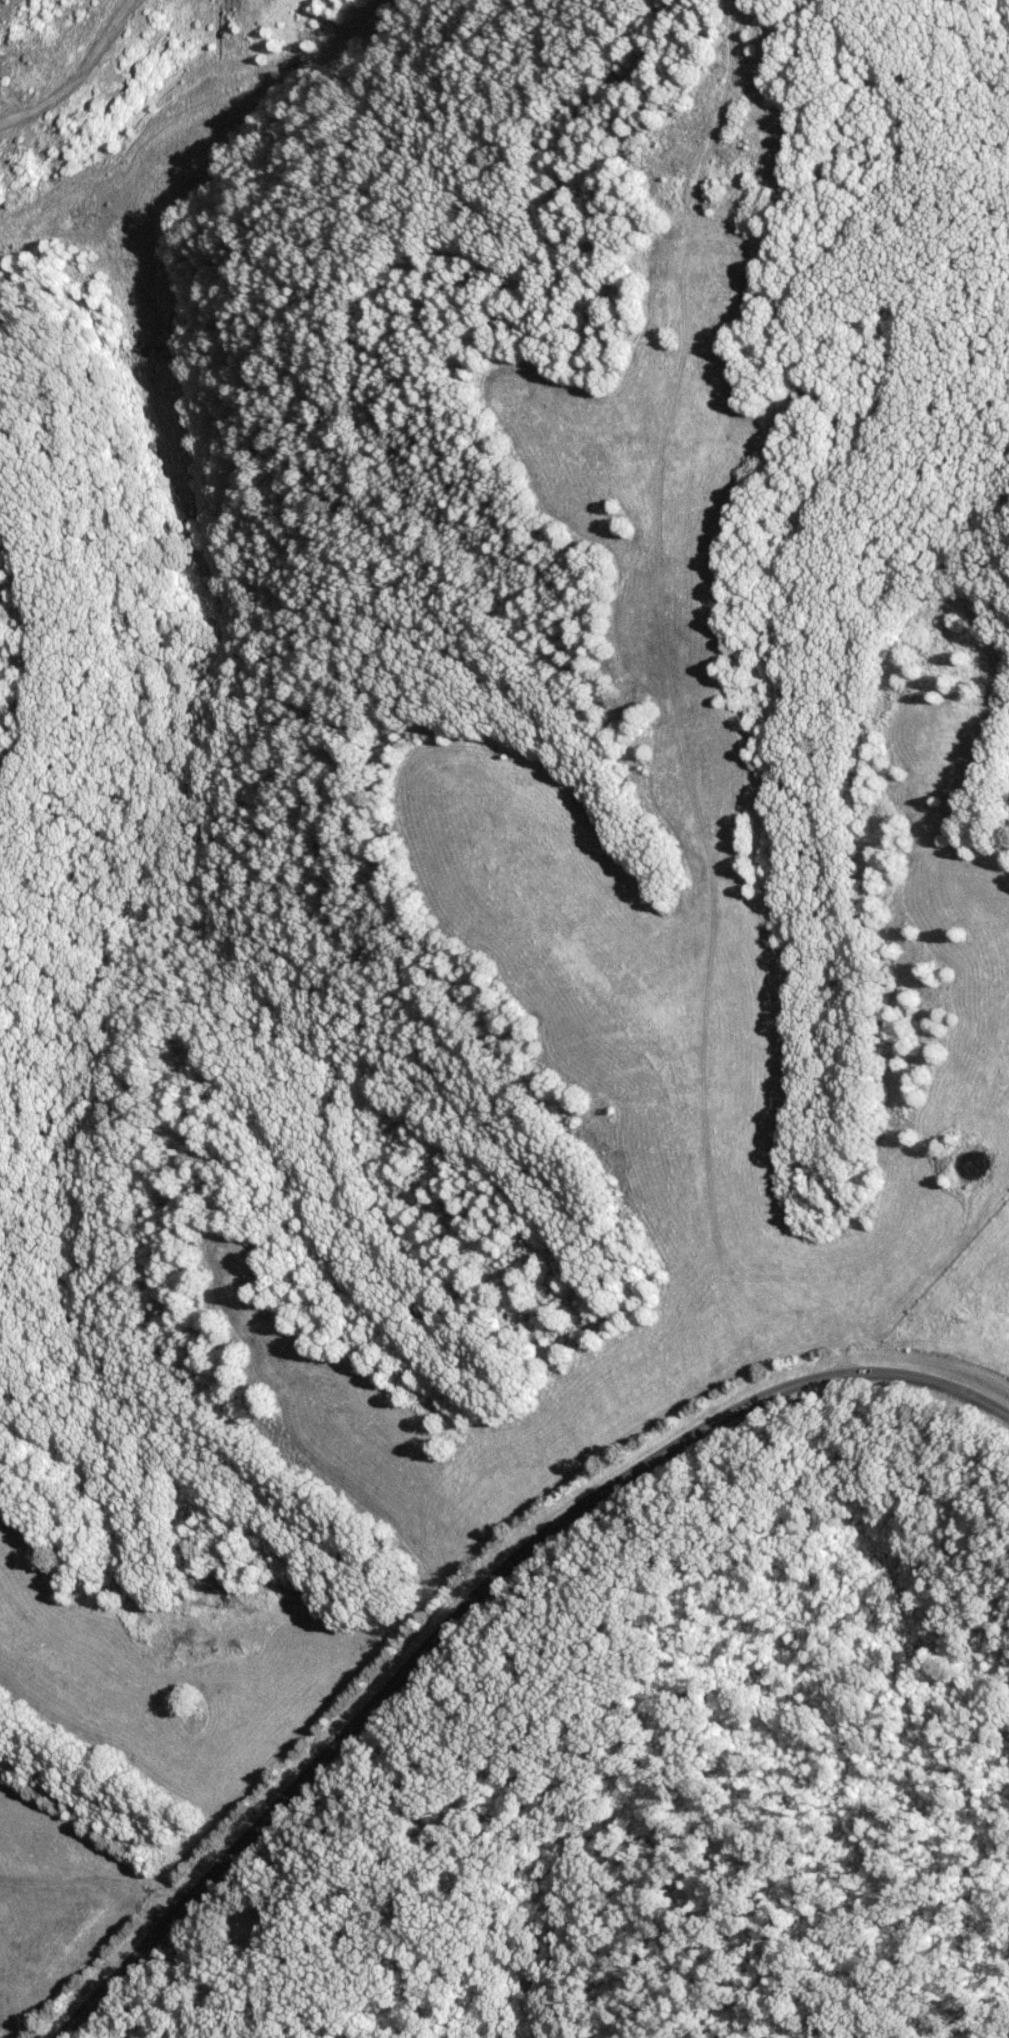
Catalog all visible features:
airport: (98, 72)
road: (478, 1597)

